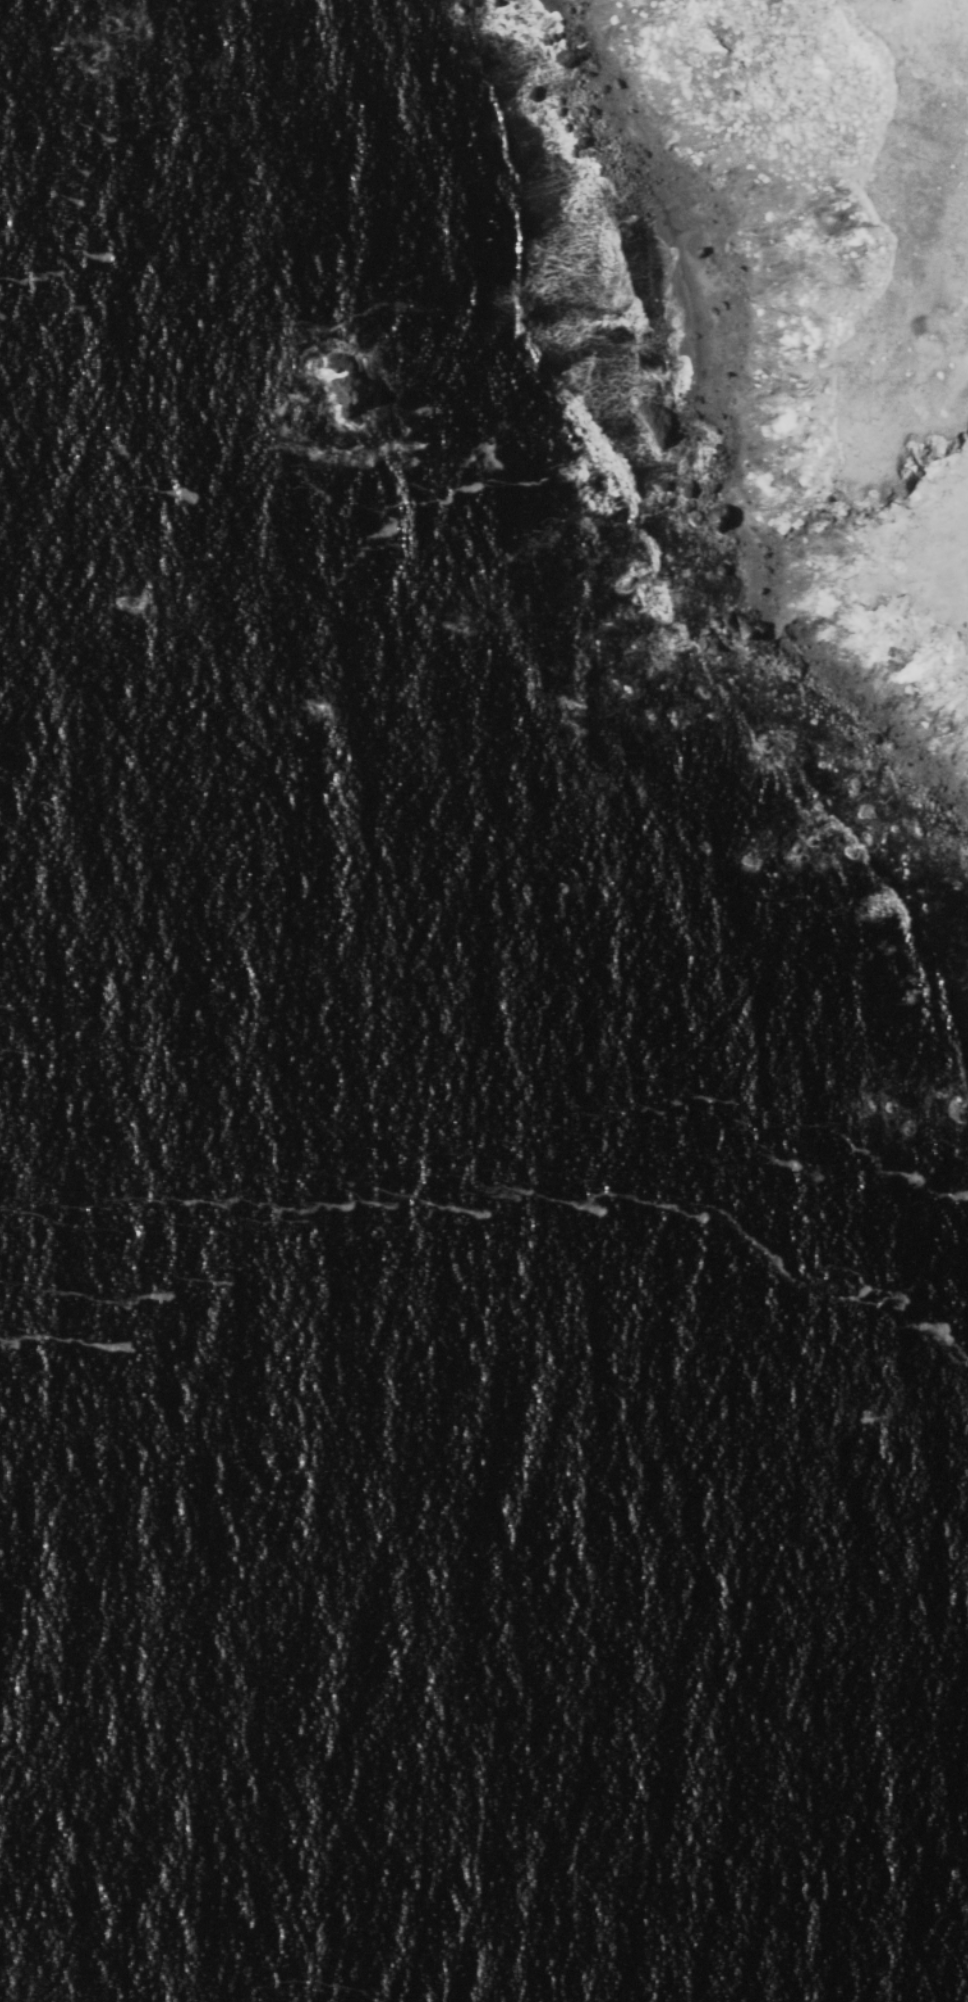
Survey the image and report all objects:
road: (923, 56)

